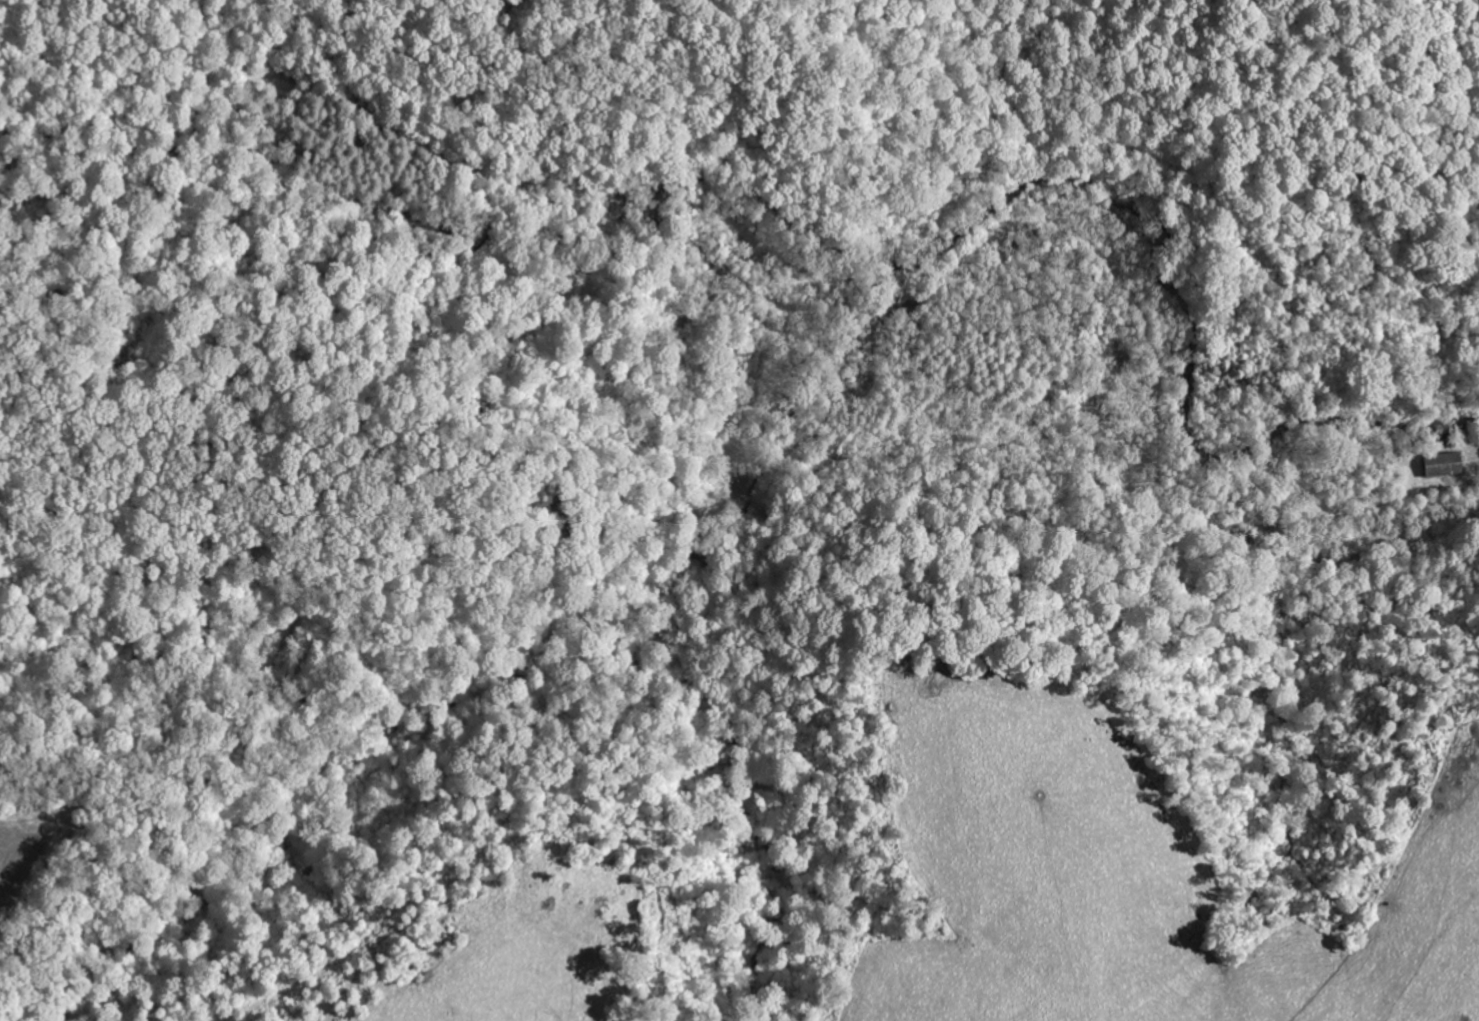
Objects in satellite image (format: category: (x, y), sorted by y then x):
building: (1443, 465)

